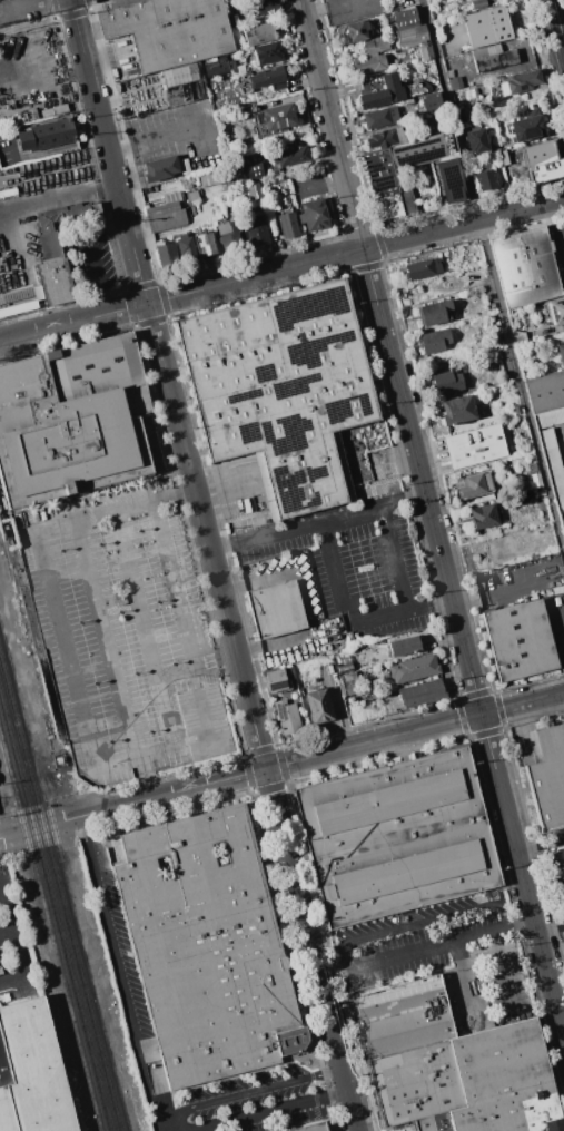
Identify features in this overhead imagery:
building: (477, 3)
road: (27, 6)
road: (325, 6)
building: (265, 7)
road: (558, 19)
building: (486, 26)
building: (169, 30)
building: (356, 30)
road: (80, 31)
building: (410, 31)
building: (258, 32)
building: (375, 45)
building: (267, 52)
building: (492, 57)
road: (12, 63)
building: (367, 63)
building: (218, 67)
building: (268, 79)
building: (518, 81)
building: (454, 82)
building: (179, 83)
building: (379, 91)
building: (429, 101)
building: (379, 117)
building: (273, 118)
building: (526, 126)
road: (102, 128)
building: (47, 136)
building: (383, 137)
road: (156, 138)
building: (476, 139)
building: (289, 155)
building: (495, 160)
building: (184, 166)
building: (250, 166)
building: (160, 169)
building: (545, 171)
building: (379, 177)
building: (485, 177)
building: (210, 178)
building: (449, 180)
building: (254, 189)
road: (59, 197)
building: (165, 213)
building: (313, 214)
road: (560, 215)
building: (286, 225)
building: (256, 230)
building: (229, 237)
building: (185, 245)
building: (206, 245)
road: (133, 247)
road: (89, 248)
building: (58, 250)
parking lot: (90, 255)
building: (166, 256)
building: (525, 266)
road: (283, 268)
building: (420, 268)
road: (494, 274)
building: (19, 301)
building: (556, 311)
building: (433, 313)
building: (433, 341)
road: (1, 342)
building: (561, 353)
road: (390, 357)
building: (489, 366)
building: (447, 382)
building: (281, 387)
building: (545, 392)
building: (456, 410)
building: (547, 417)
building: (72, 422)
building: (563, 436)
building: (474, 445)
building: (555, 470)
building: (474, 484)
building: (521, 496)
building: (483, 515)
road: (317, 519)
building: (561, 521)
road: (207, 535)
road: (397, 557)
parking lot: (354, 561)
road: (305, 601)
road: (179, 603)
road: (55, 609)
building: (276, 610)
road: (353, 613)
road: (145, 629)
parking lot: (127, 633)
building: (518, 639)
building: (403, 646)
road: (109, 661)
building: (413, 668)
building: (275, 680)
building: (349, 682)
building: (420, 691)
road: (523, 704)
building: (317, 705)
road: (343, 715)
building: (286, 716)
road: (297, 759)
building: (547, 779)
road: (57, 822)
railway: (52, 830)
building: (397, 837)
road: (541, 846)
building: (557, 856)
road: (523, 875)
railway: (59, 895)
railway: (55, 914)
road: (423, 923)
road: (12, 926)
road: (551, 928)
railway: (50, 932)
road: (7, 933)
building: (208, 946)
road: (313, 948)
road: (427, 951)
parking lot: (447, 956)
road: (333, 957)
road: (295, 961)
road: (121, 972)
road: (504, 972)
road: (14, 976)
road: (467, 983)
road: (561, 1010)
building: (402, 1015)
building: (31, 1073)
building: (503, 1080)
building: (415, 1082)
parking lot: (254, 1102)
building: (427, 1123)
road: (161, 1127)
building: (309, 1127)
road: (161, 1129)
road: (329, 1129)
parking lot: (399, 1129)

